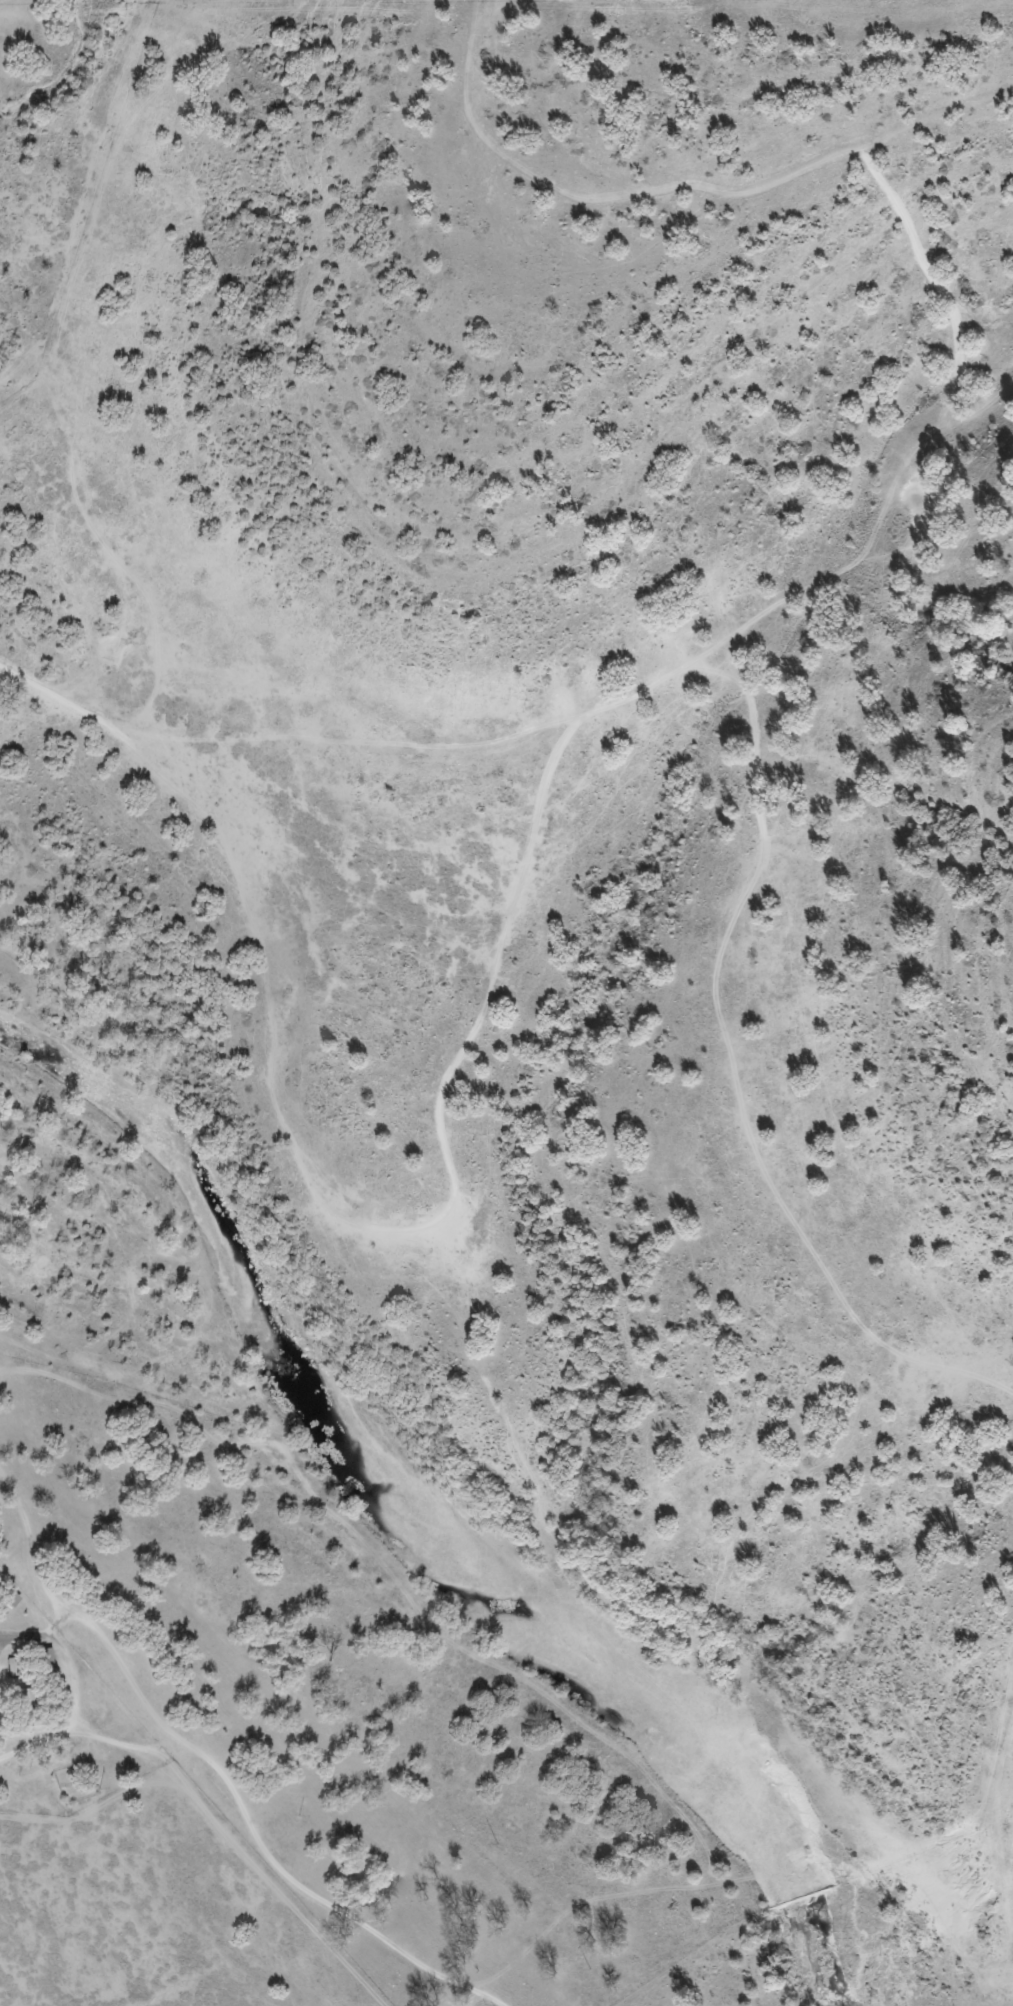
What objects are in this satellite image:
building: (46, 1659)
road: (74, 1697)

